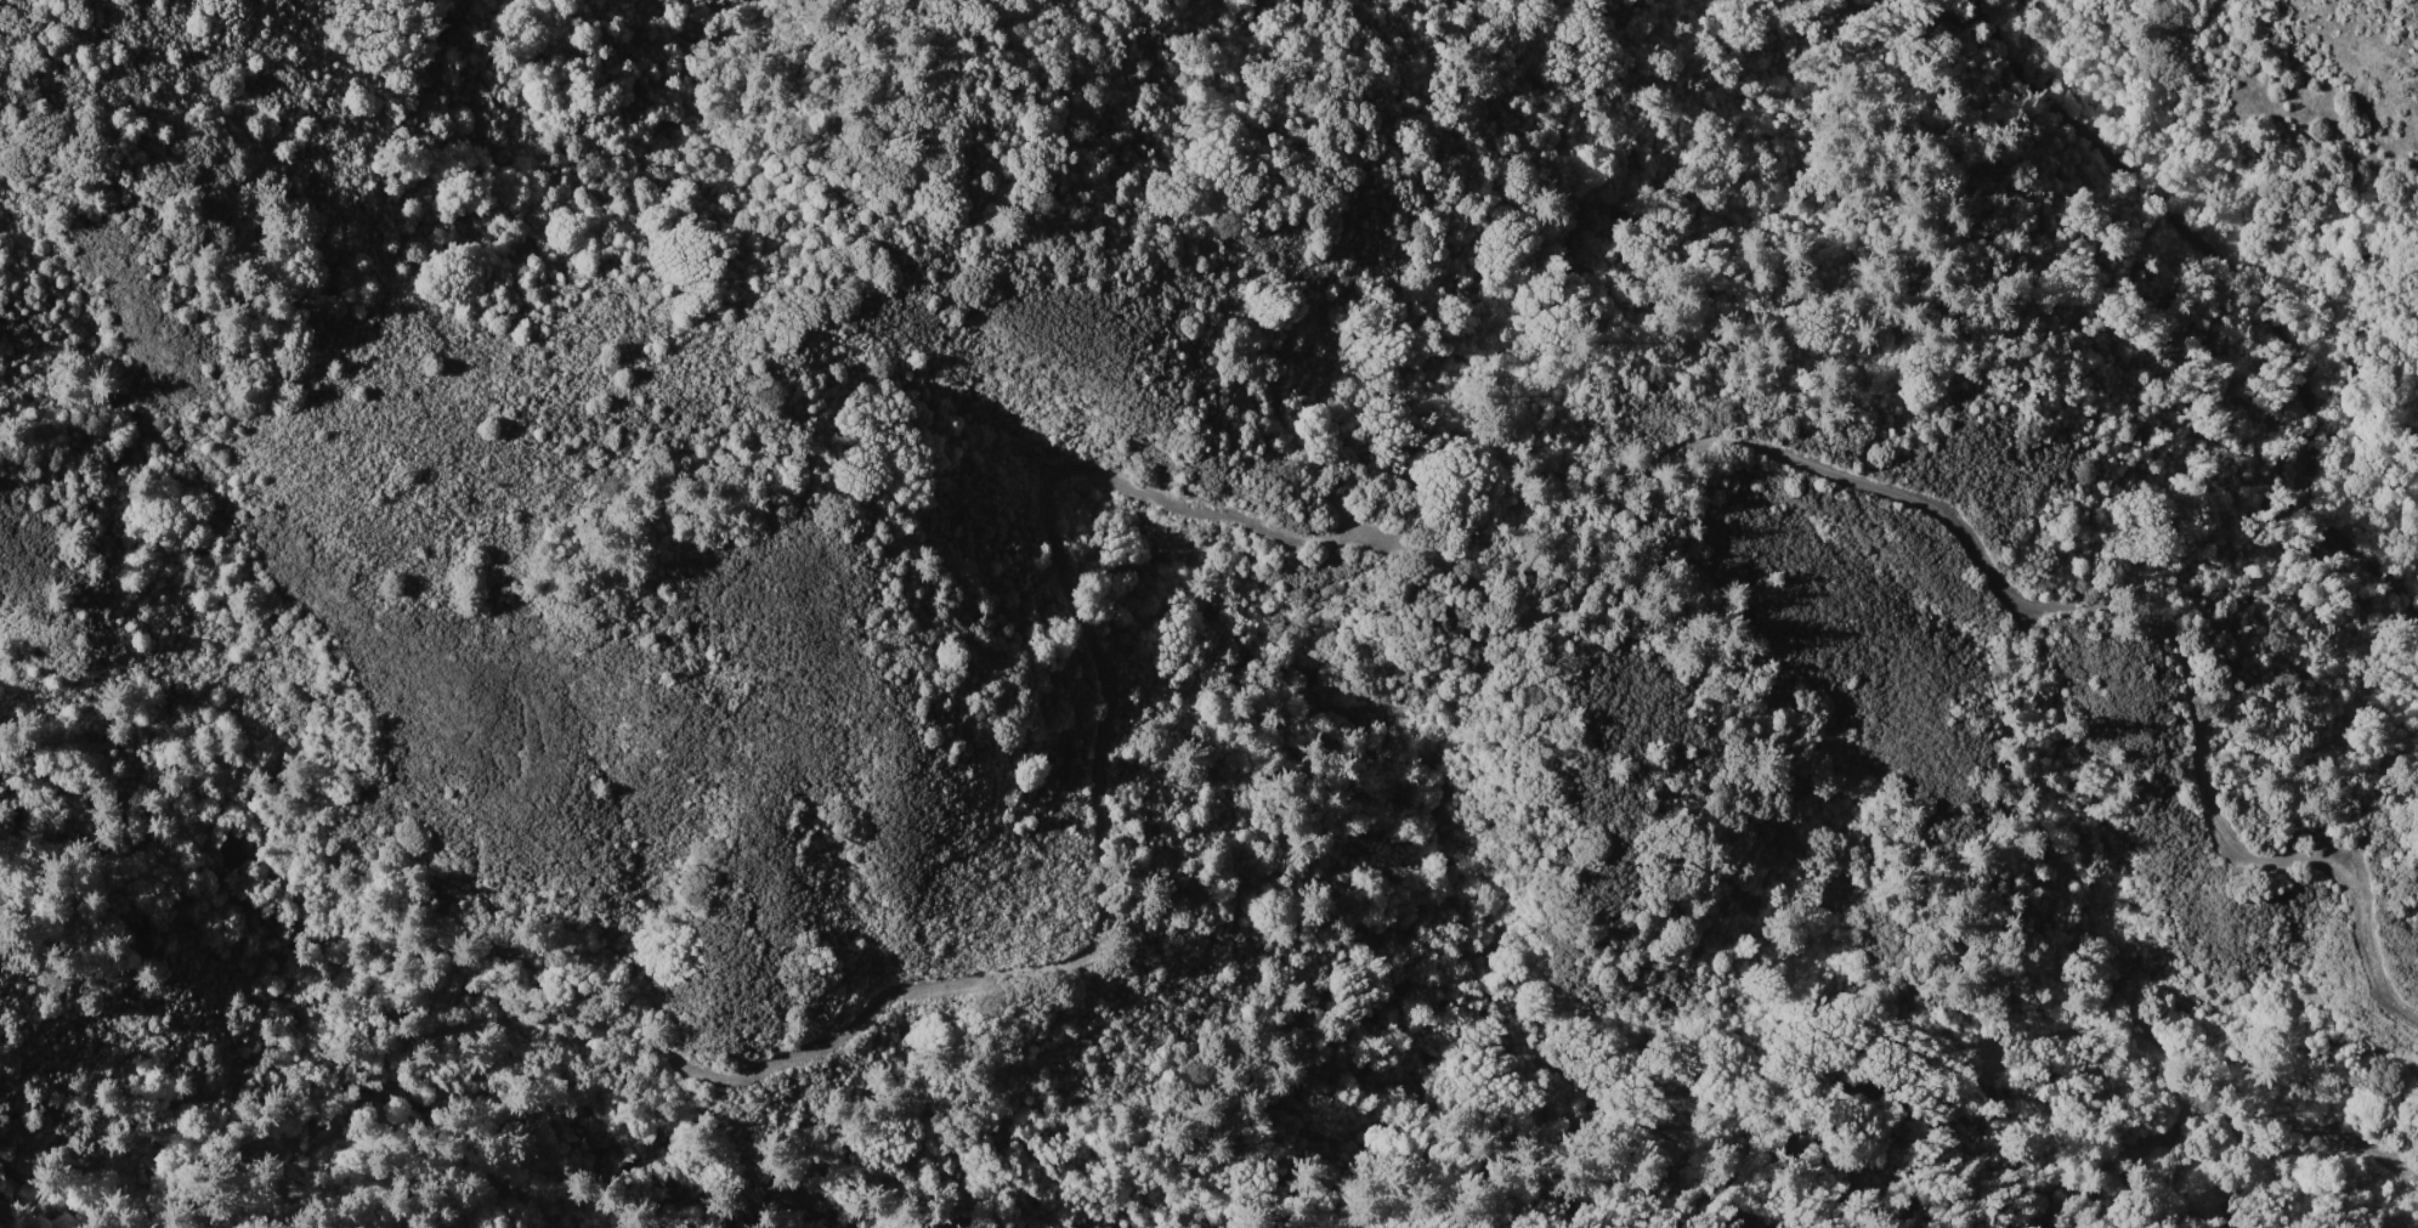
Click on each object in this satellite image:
road: (2238, 279)
road: (1364, 542)

